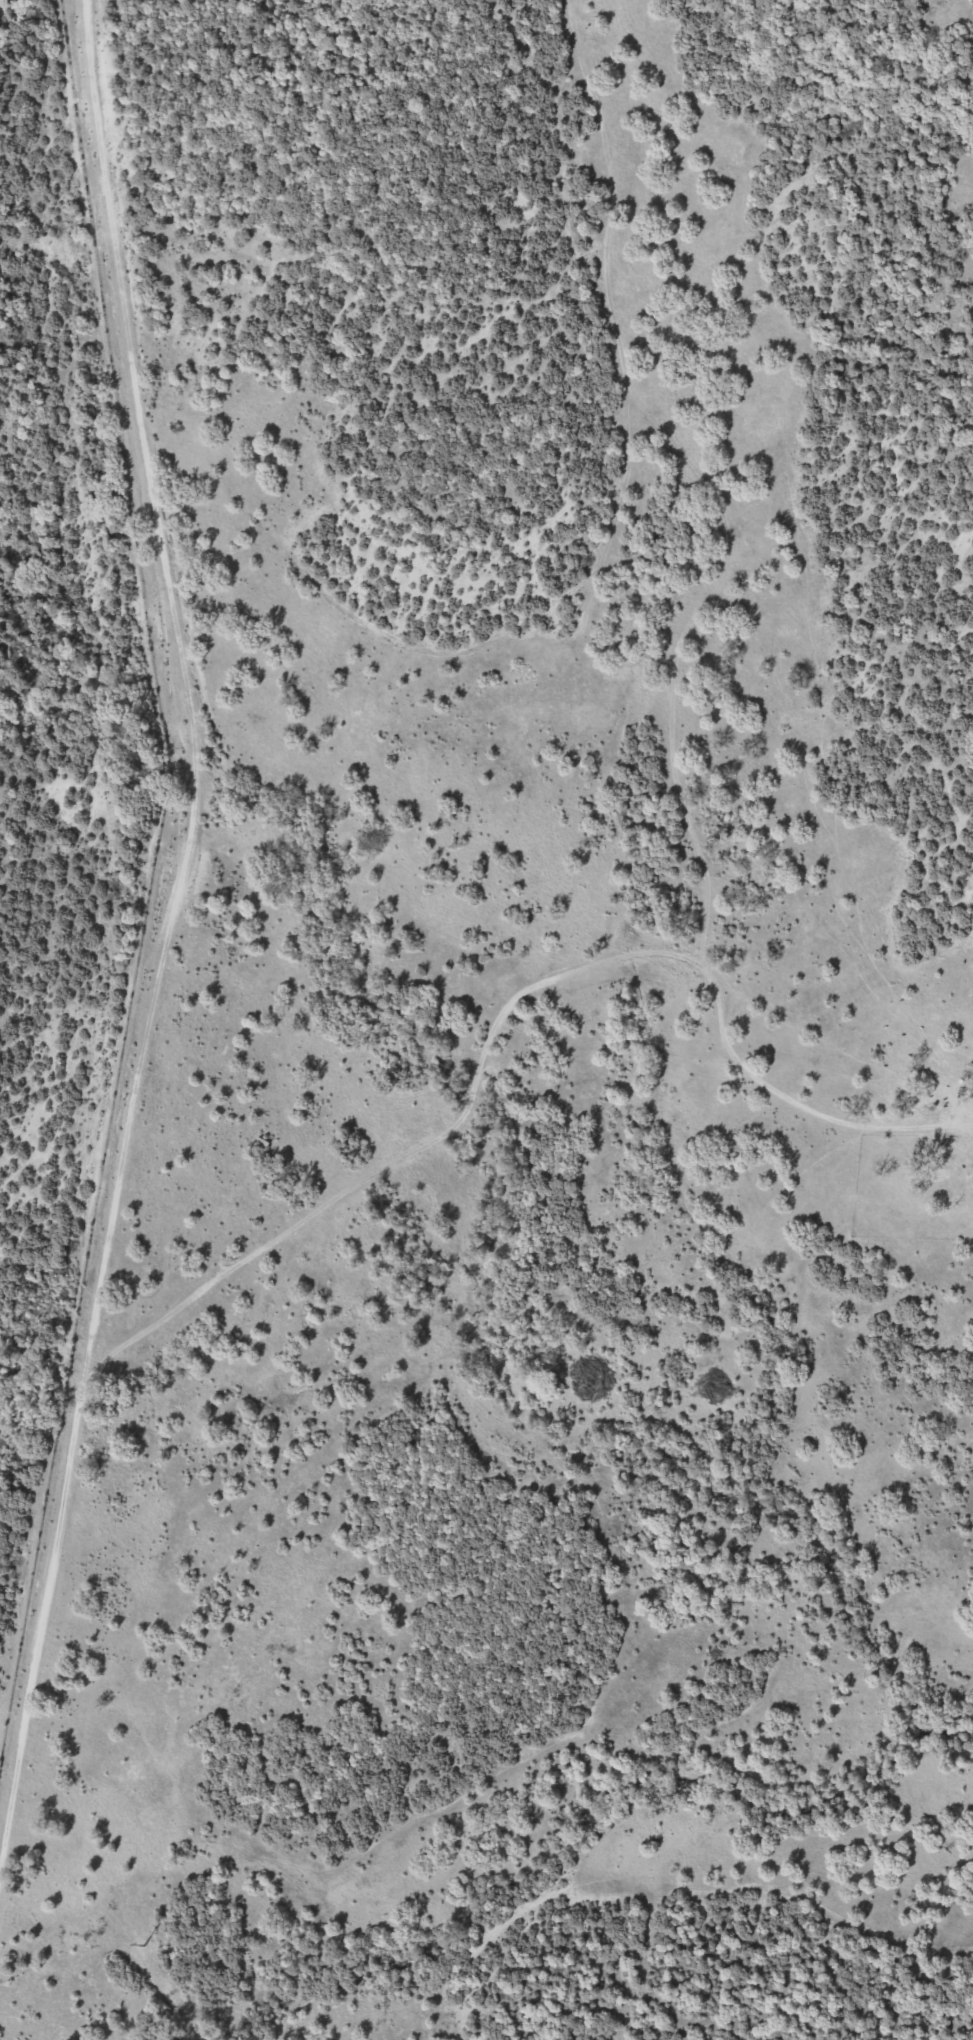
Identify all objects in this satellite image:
power tower: (144, 1945)

